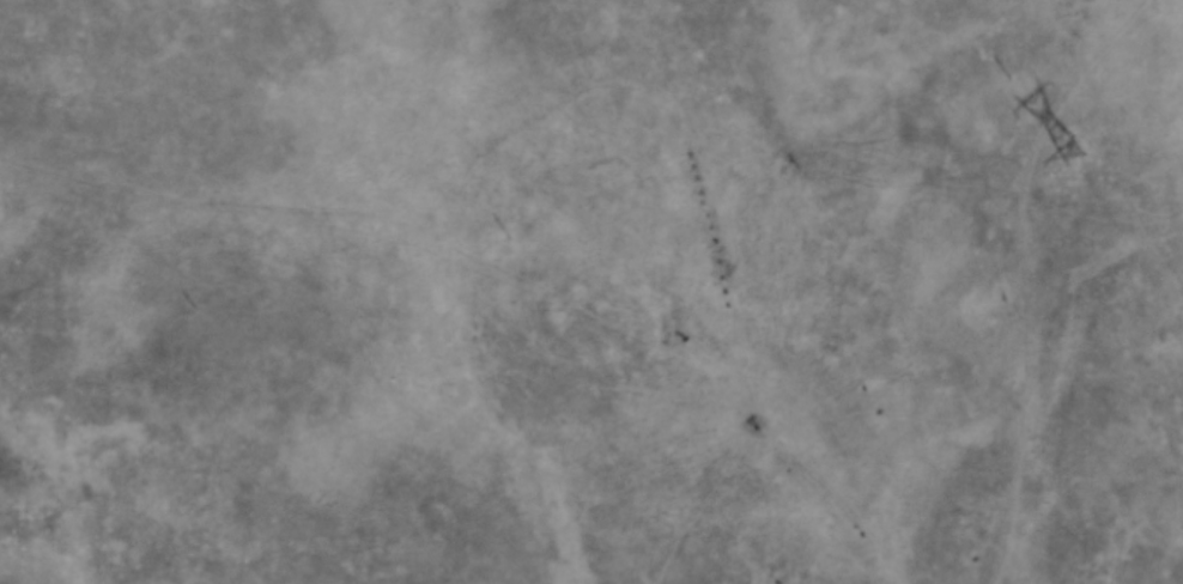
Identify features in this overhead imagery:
power tower: (1063, 159)

